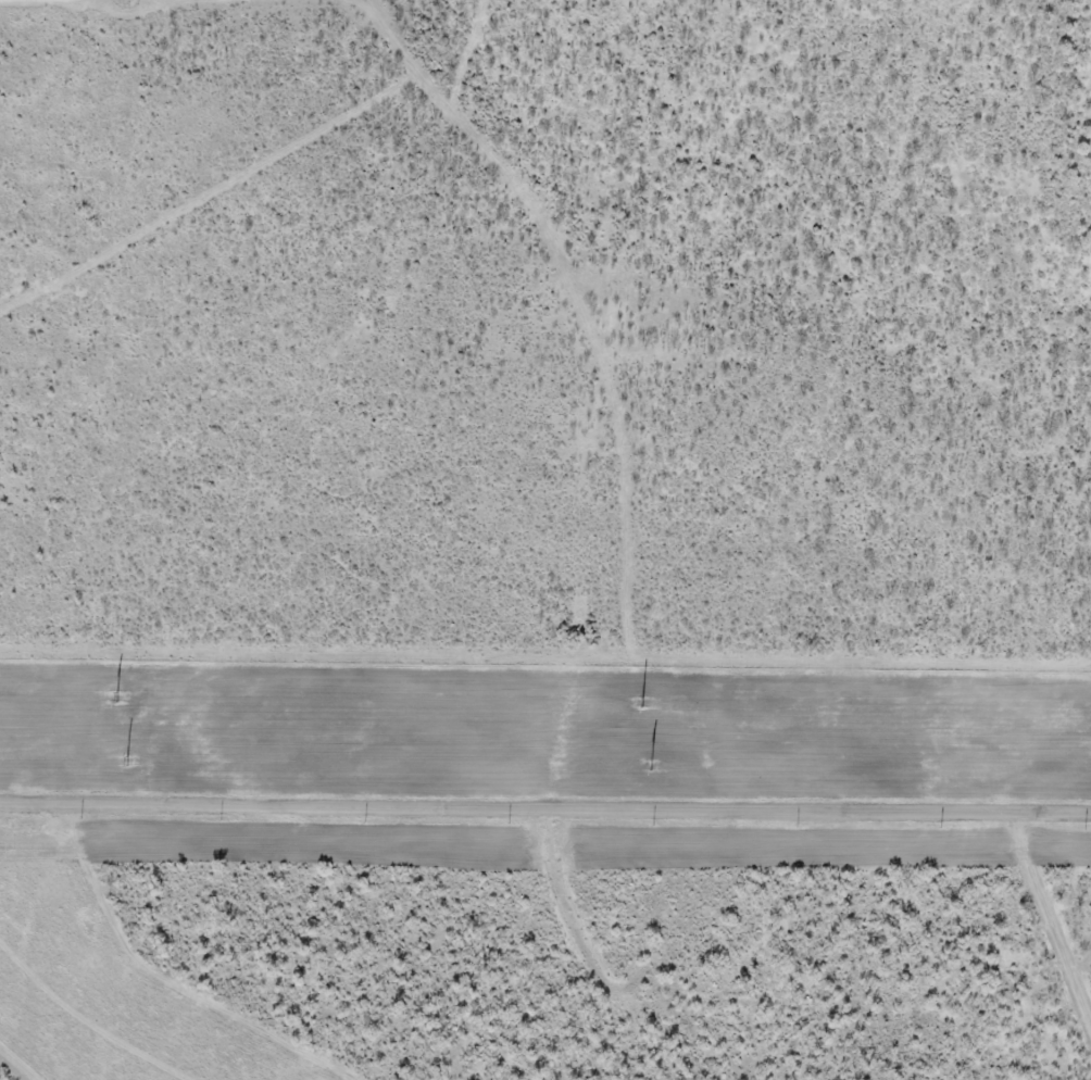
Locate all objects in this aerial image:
power tower: (116, 696)
power tower: (640, 701)
power tower: (128, 762)
power tower: (651, 766)
road: (545, 806)

